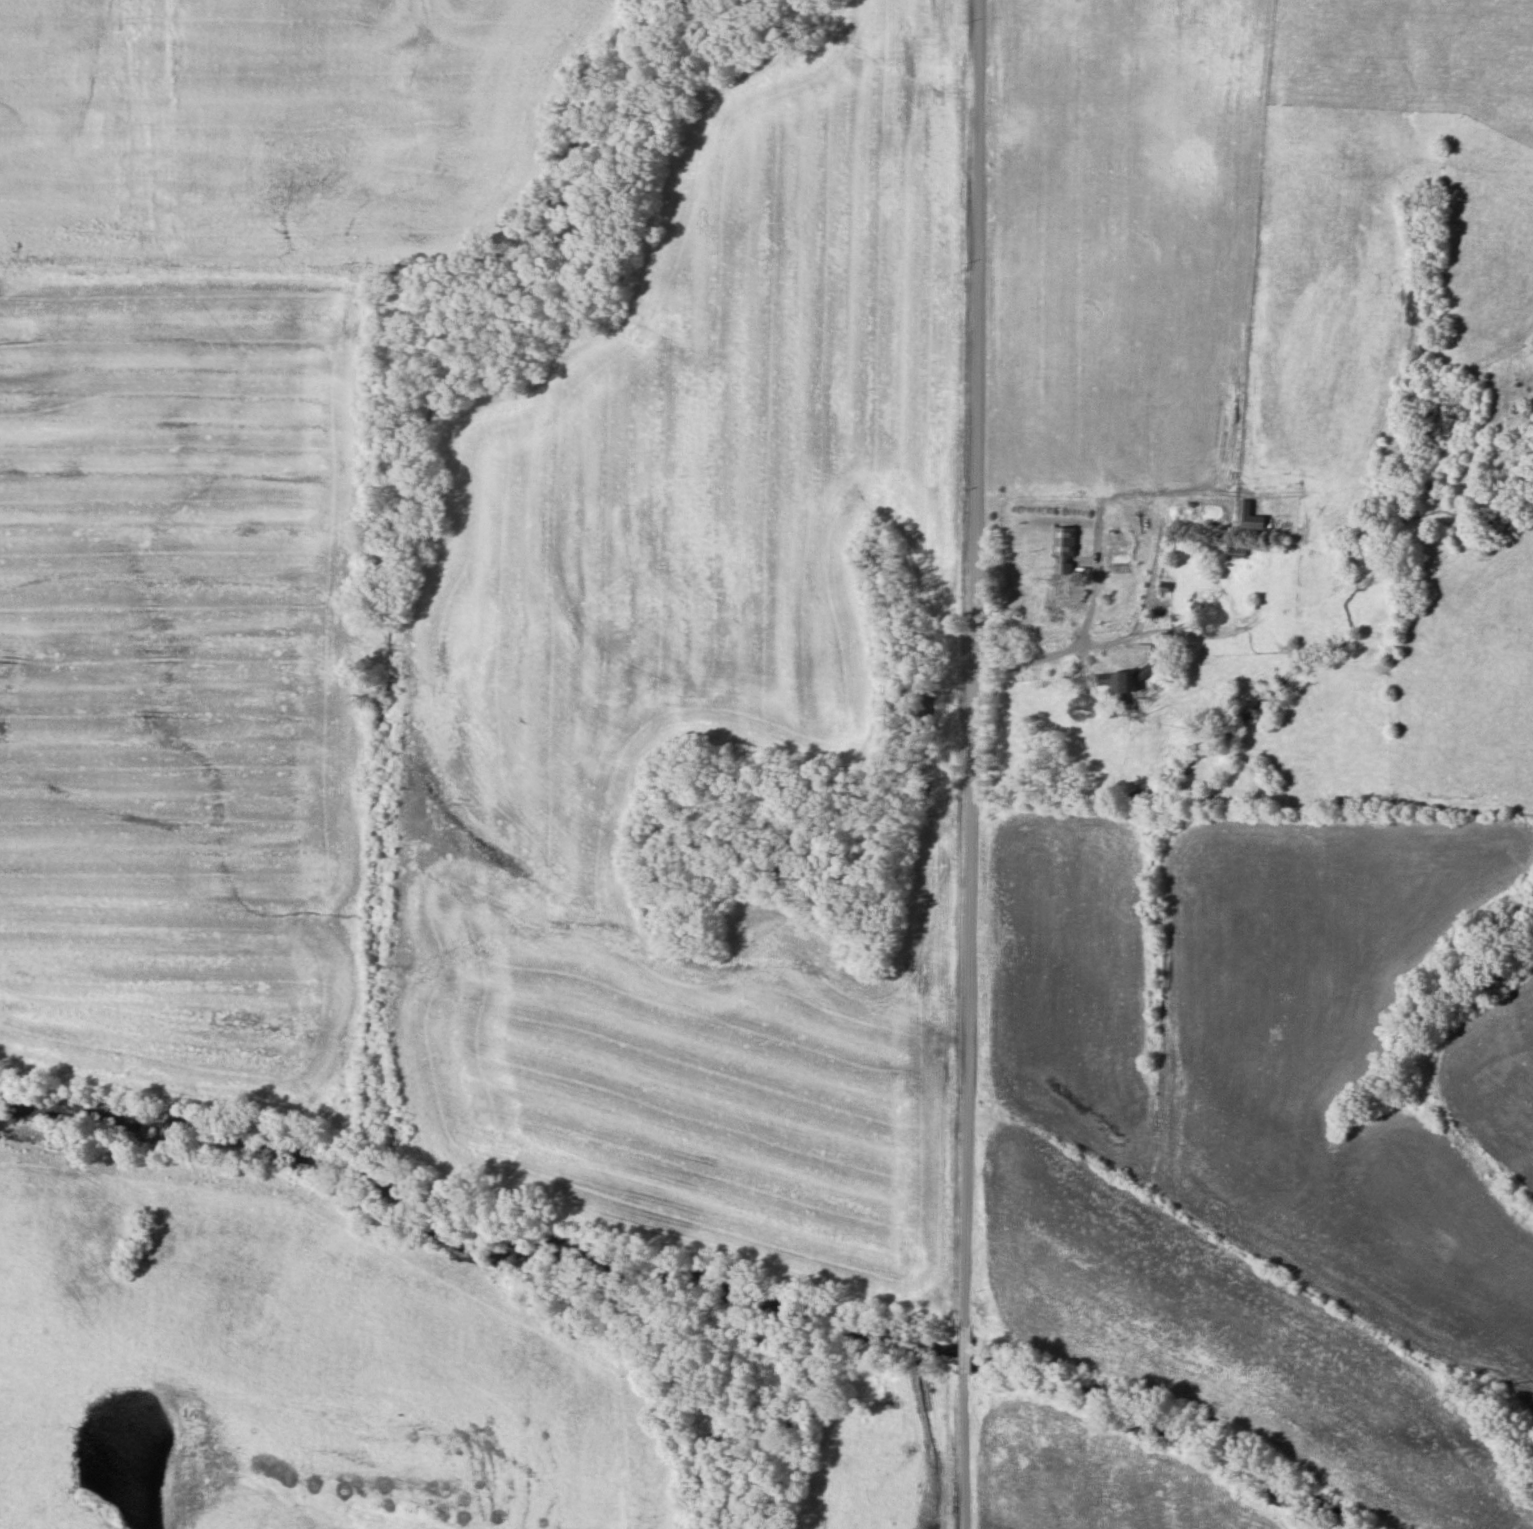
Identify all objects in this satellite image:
building: (1065, 550)
building: (1119, 559)
road: (1037, 663)
road: (974, 764)

